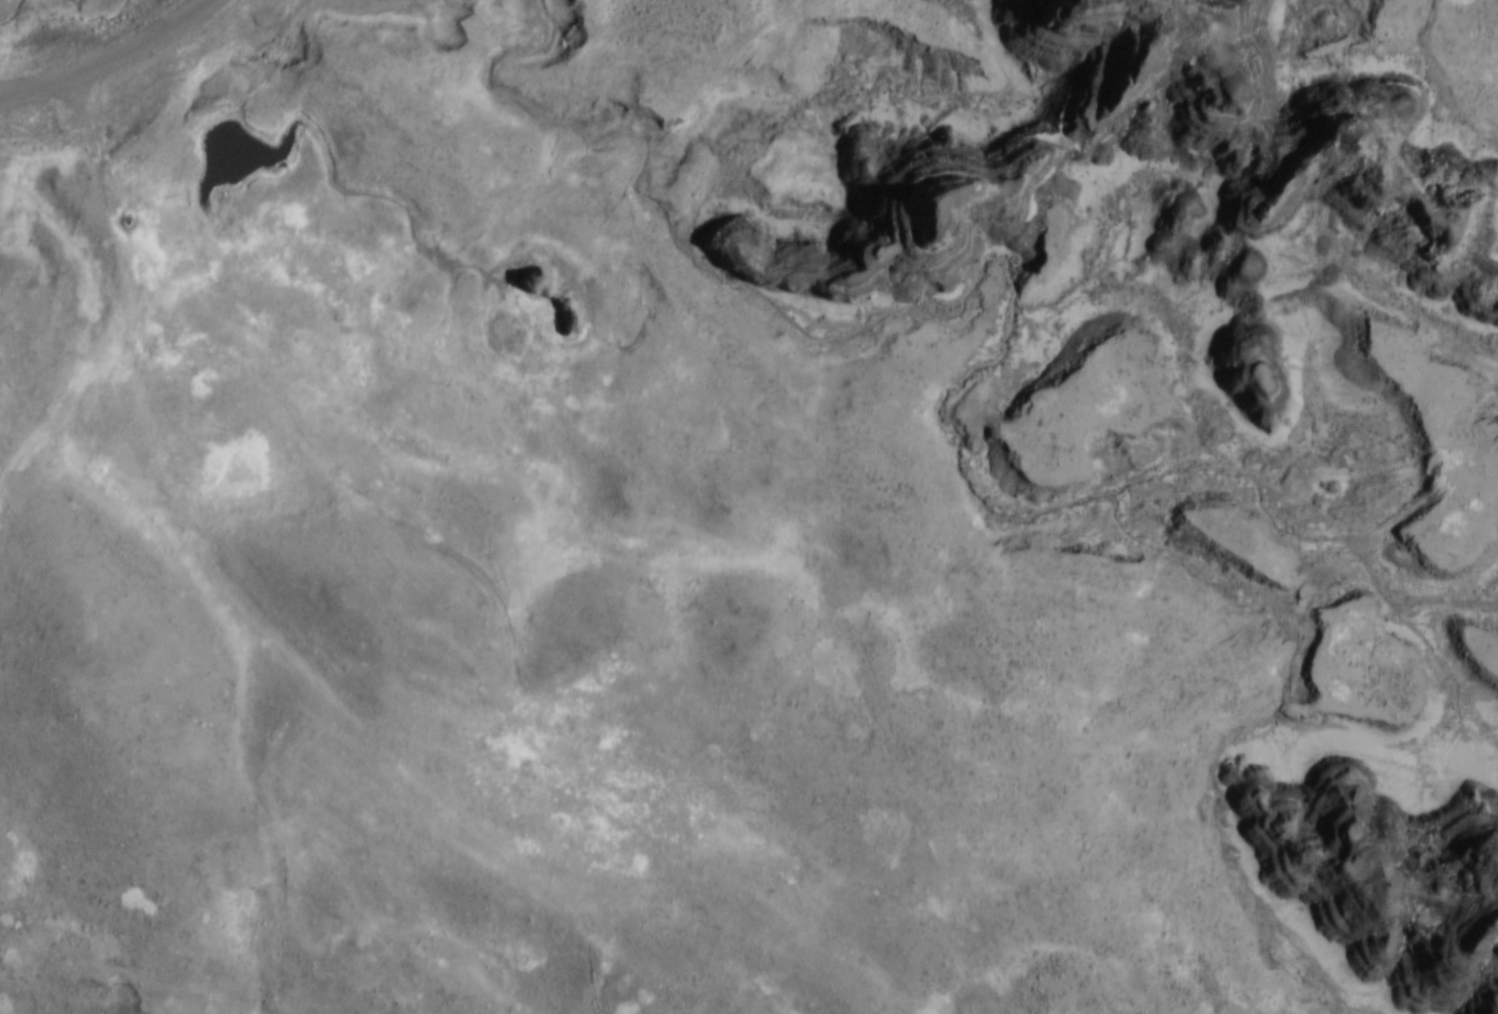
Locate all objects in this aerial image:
road: (127, 97)

